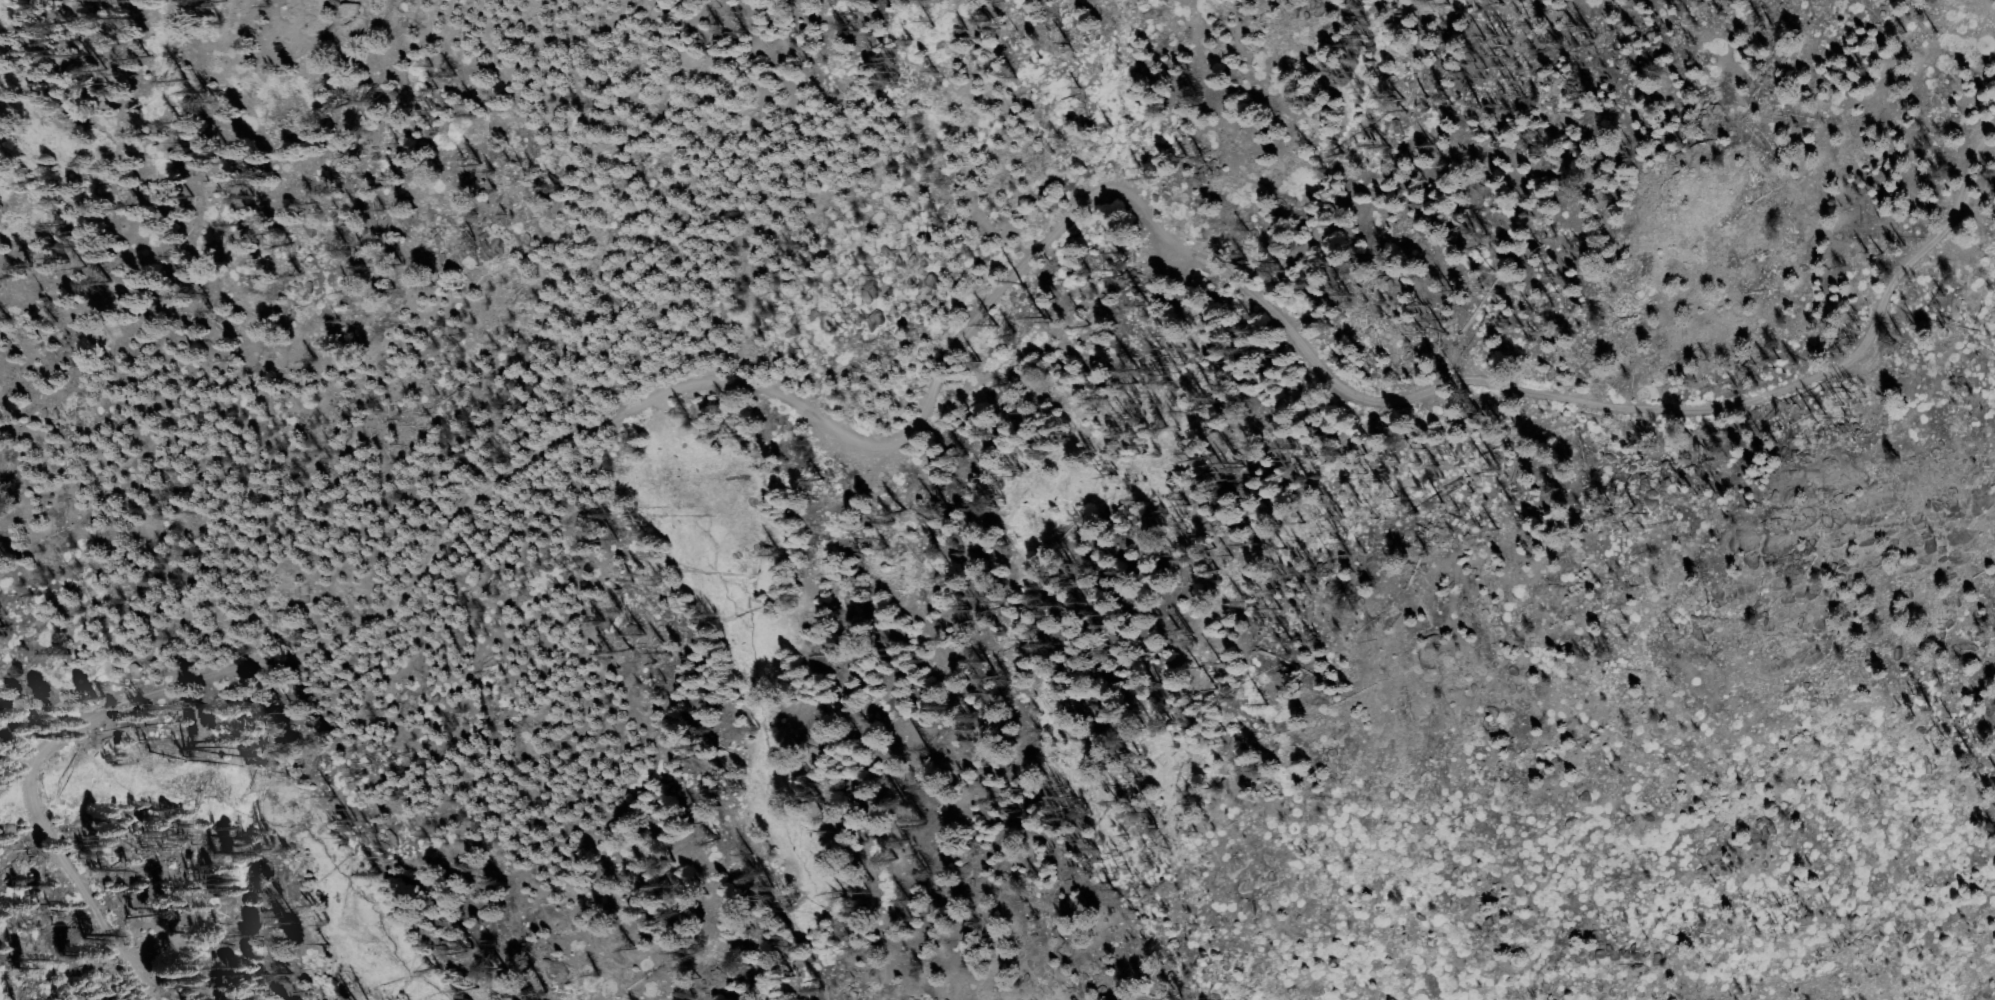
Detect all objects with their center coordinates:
road: (943, 359)

